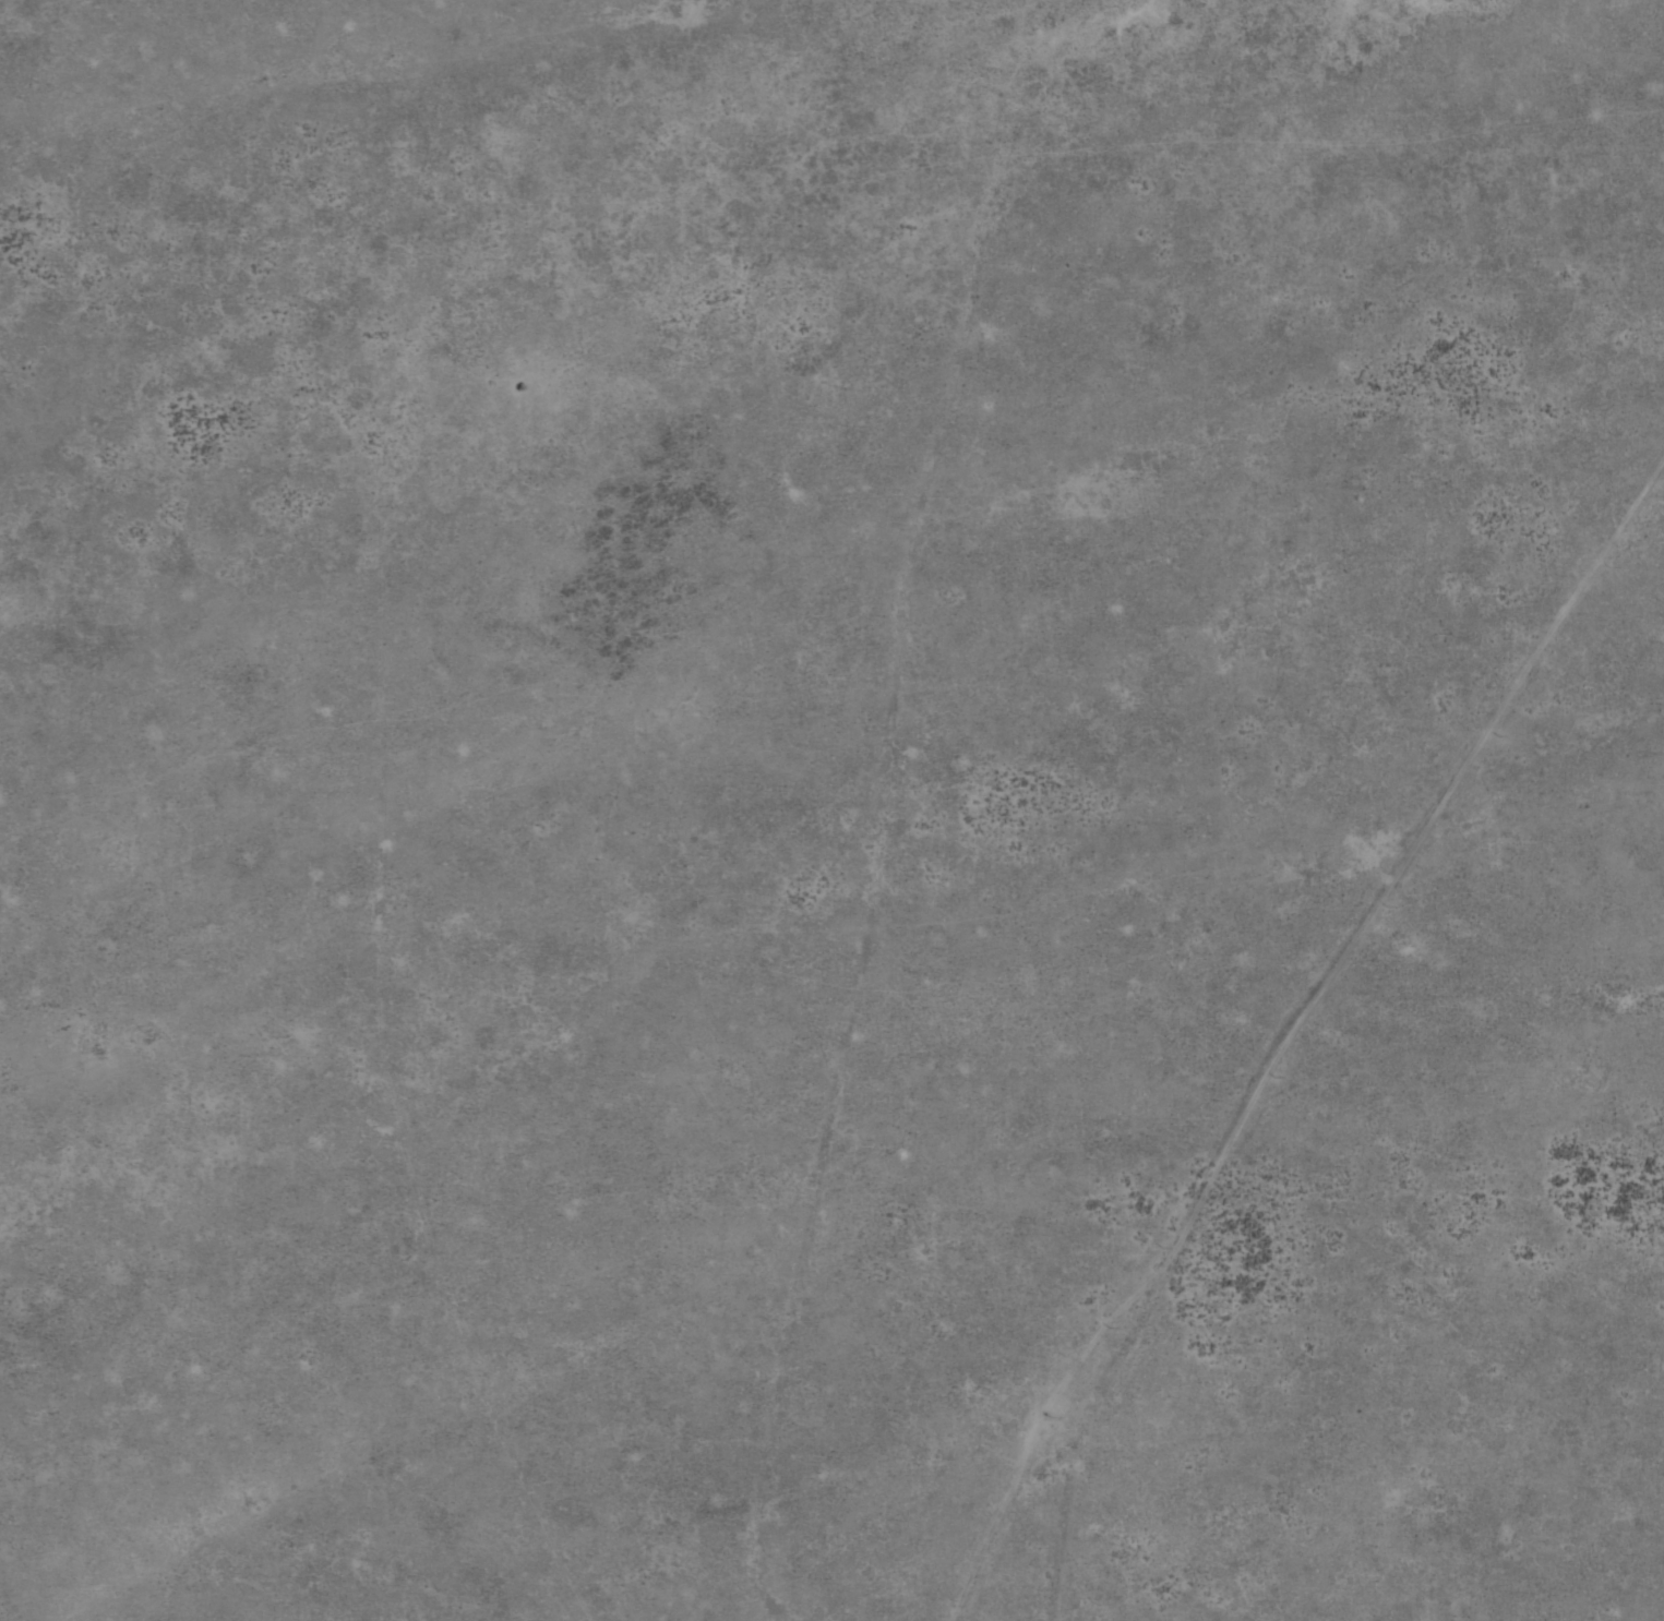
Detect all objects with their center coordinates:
road: (1447, 791)

